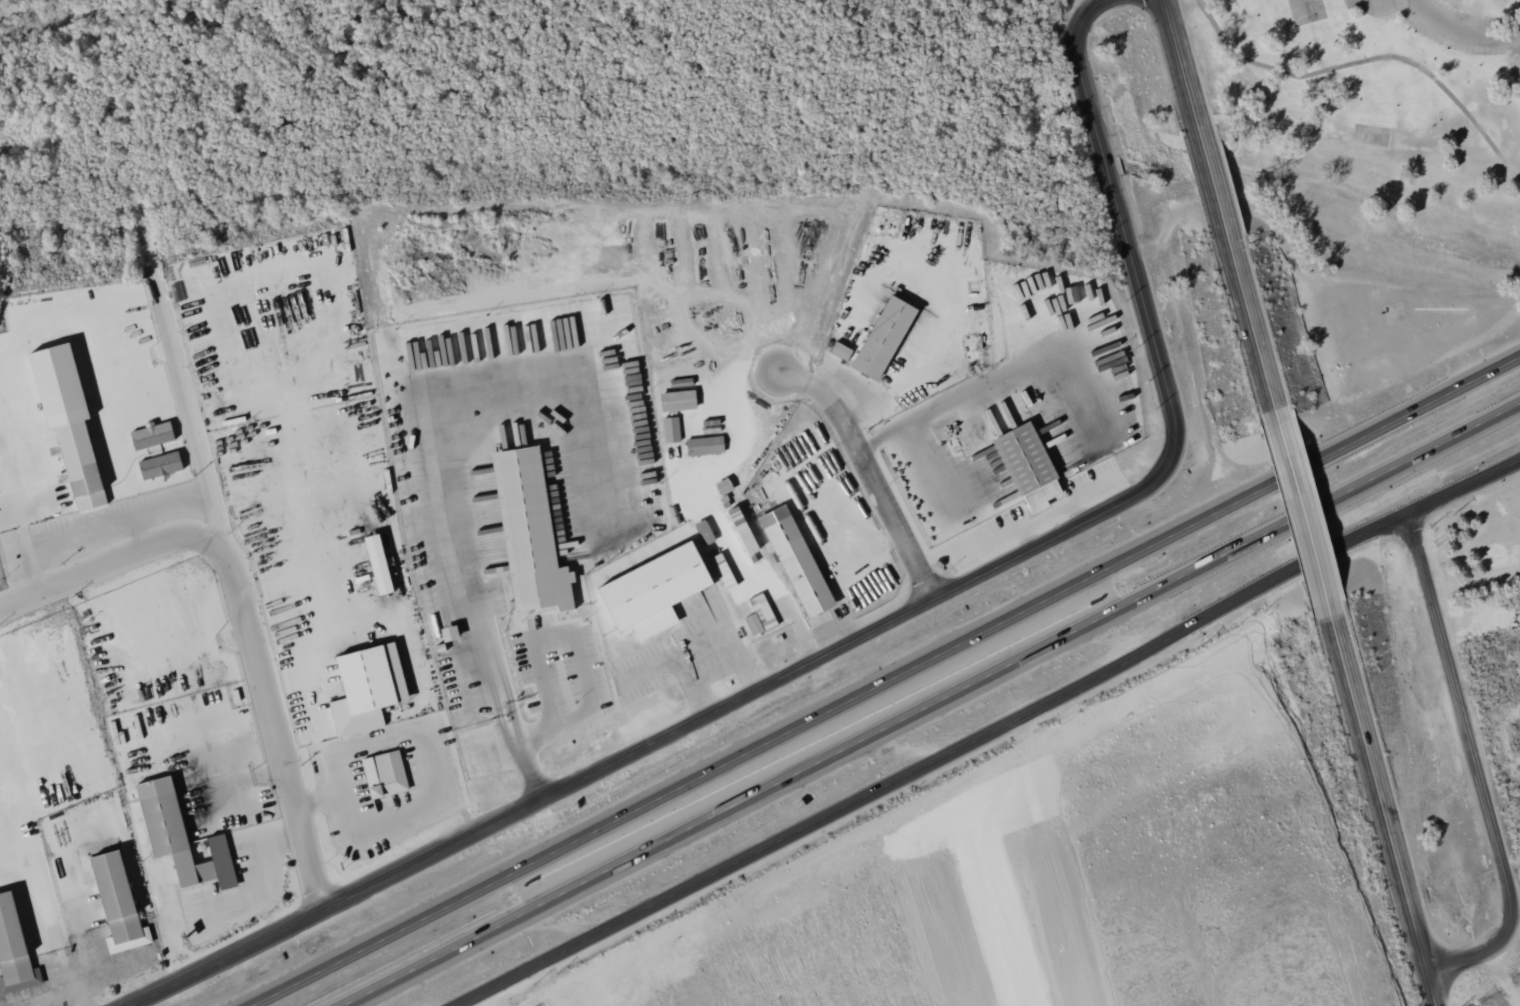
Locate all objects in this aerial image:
road: (926, 0)
road: (67, 25)
road: (1461, 31)
road: (1184, 70)
park: (517, 115)
road: (1329, 136)
road: (1216, 185)
park: (1371, 188)
road: (1134, 254)
road: (72, 303)
road: (1256, 328)
building: (884, 337)
building: (841, 350)
road: (180, 383)
building: (678, 400)
building: (69, 420)
building: (671, 429)
building: (152, 435)
building: (160, 464)
building: (1028, 466)
road: (1308, 517)
road: (104, 523)
road: (900, 524)
building: (705, 531)
building: (744, 531)
building: (529, 532)
road: (846, 532)
park: (1482, 537)
building: (797, 561)
building: (380, 564)
road: (755, 574)
building: (655, 591)
building: (760, 616)
road: (245, 618)
road: (313, 671)
road: (884, 680)
road: (497, 682)
building: (368, 688)
road: (927, 703)
road: (988, 732)
road: (635, 754)
road: (1479, 766)
building: (384, 772)
road: (1381, 789)
building: (181, 837)
building: (119, 904)
building: (14, 950)
road: (1505, 973)
road: (1434, 988)

